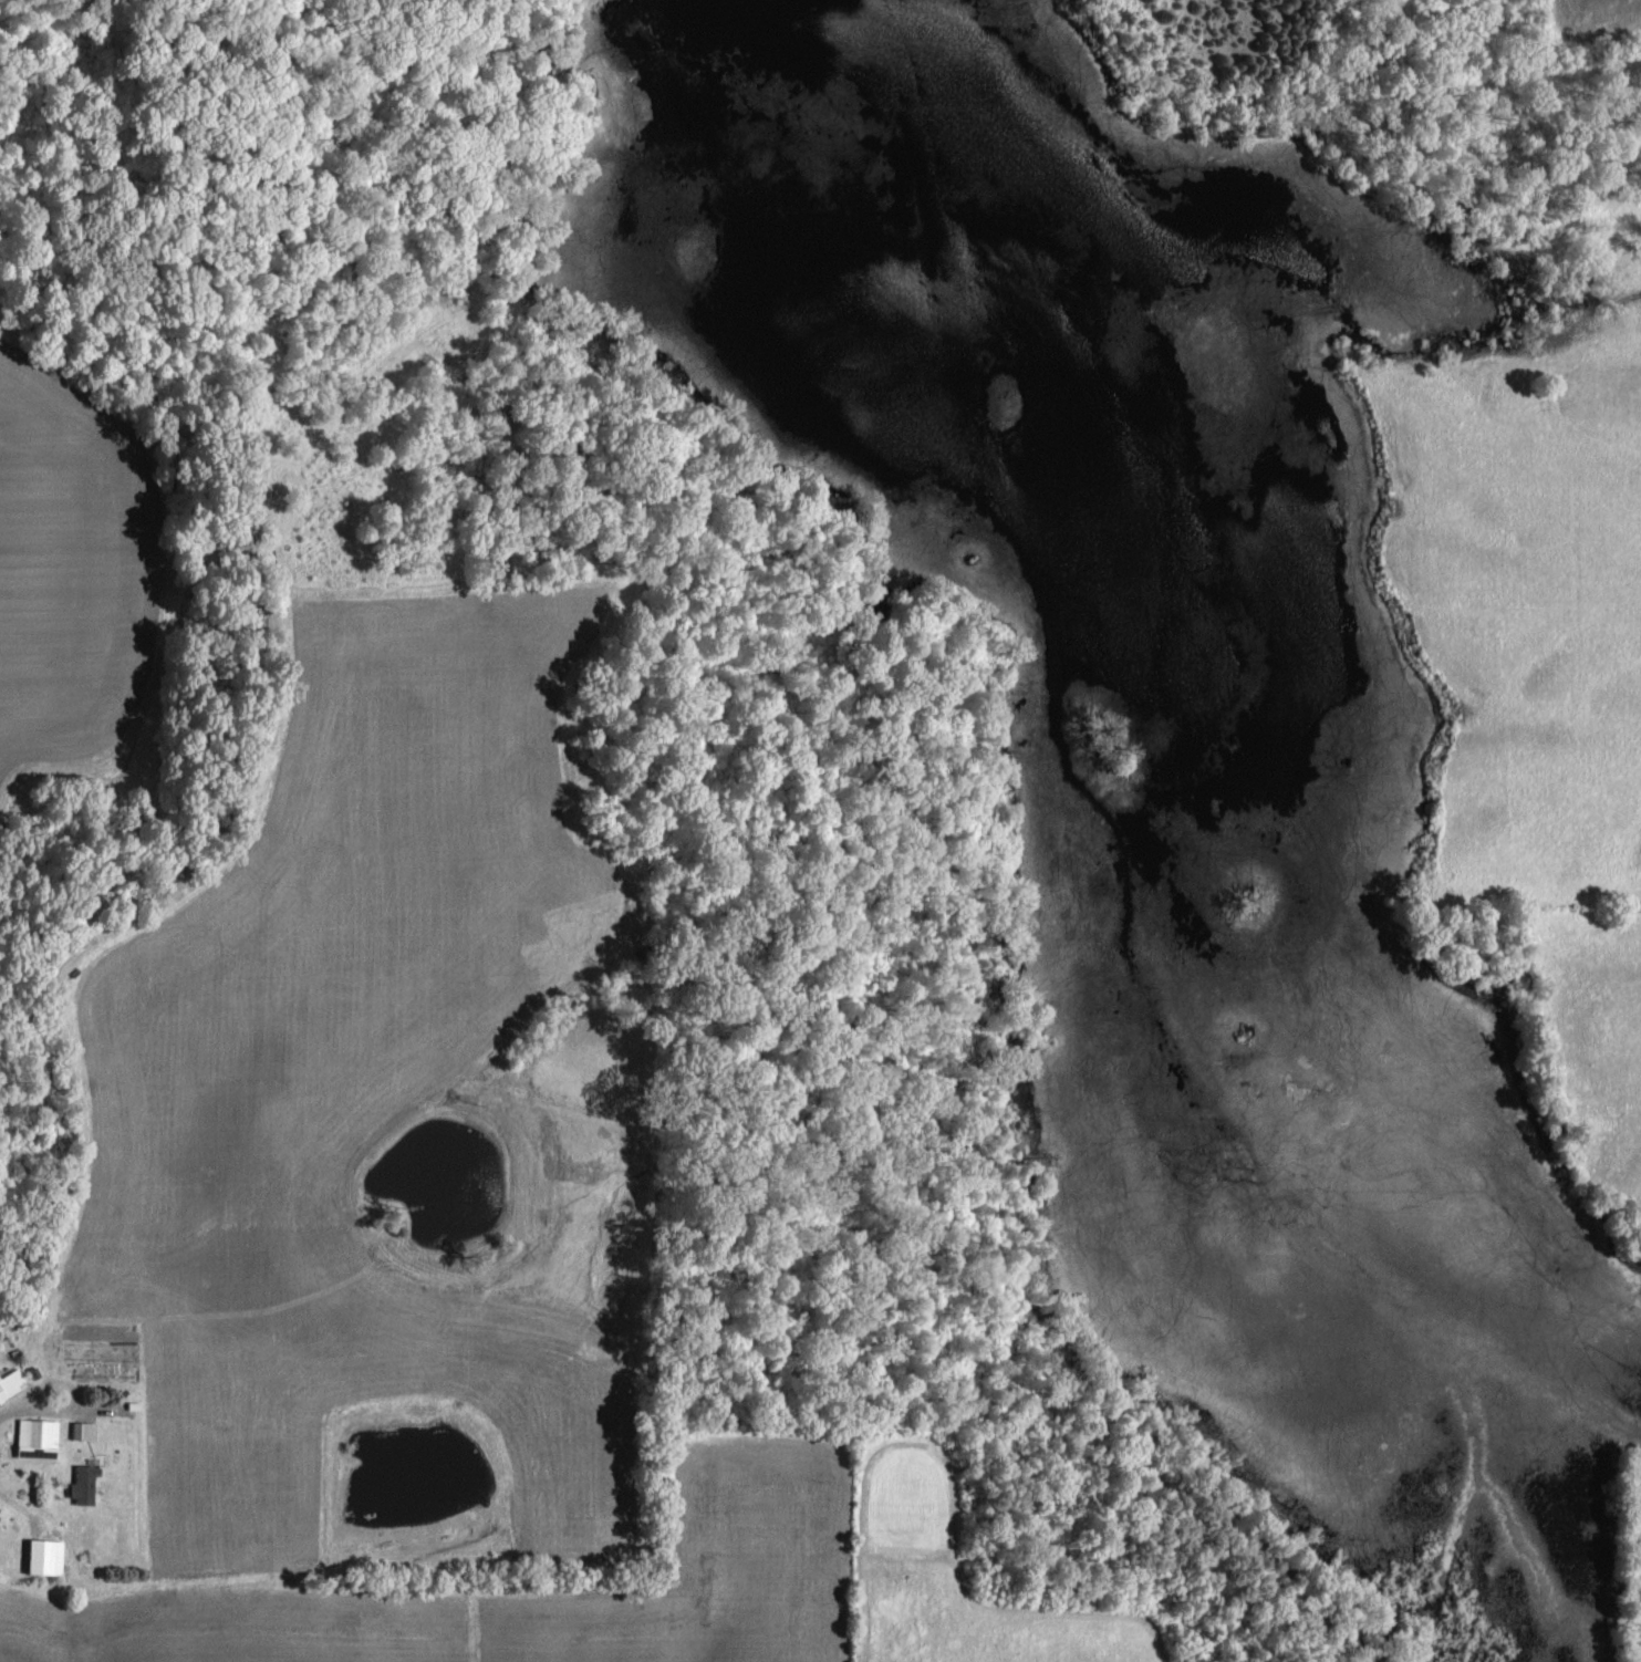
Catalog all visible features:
building: (10, 1381)
building: (80, 1429)
building: (33, 1431)
building: (80, 1482)
building: (40, 1554)

